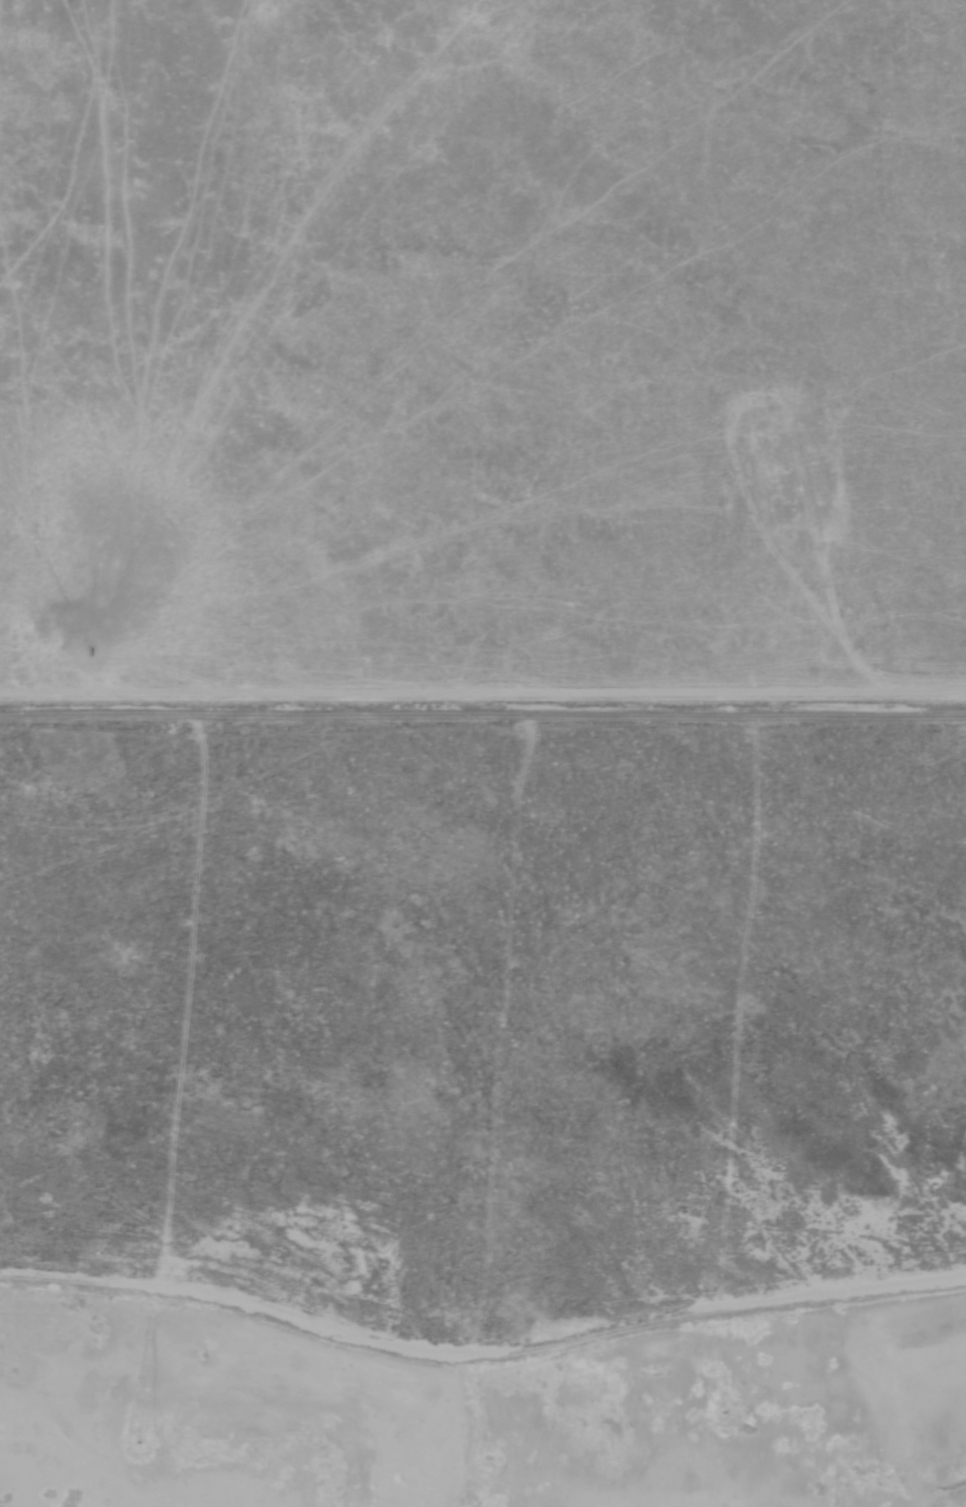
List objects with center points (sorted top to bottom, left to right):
road: (483, 711)

